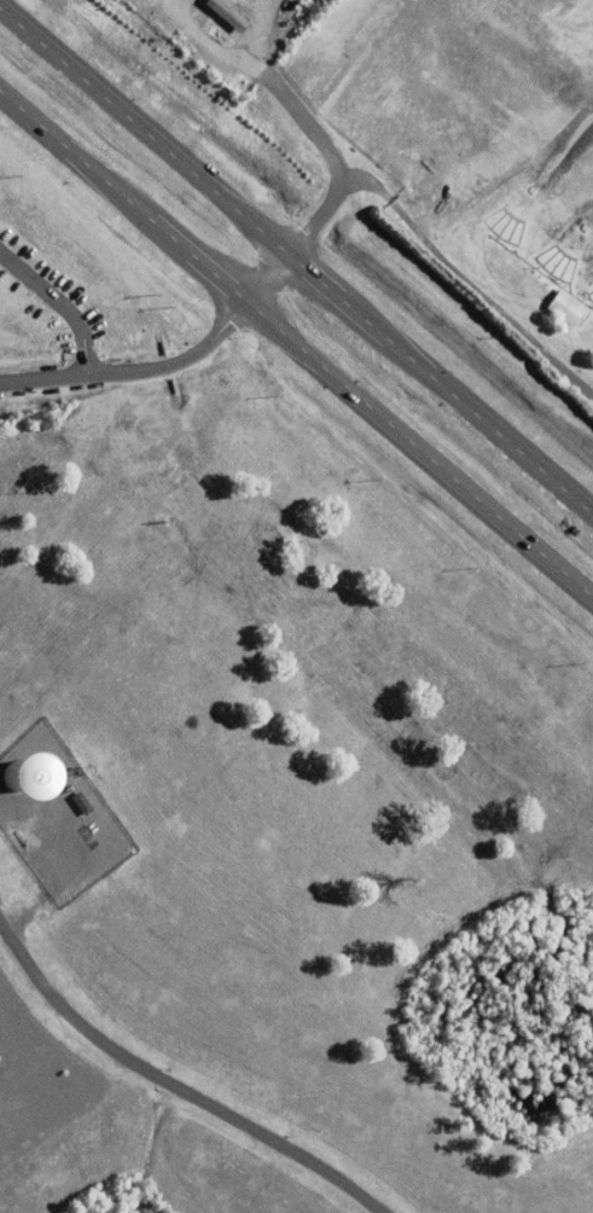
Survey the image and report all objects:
building: (227, 17)
building: (361, 123)
road: (312, 134)
road: (296, 262)
road: (469, 280)
road: (58, 303)
building: (569, 306)
road: (296, 346)
building: (571, 362)
road: (134, 368)
water tower: (14, 774)
building: (83, 802)
road: (173, 1085)

